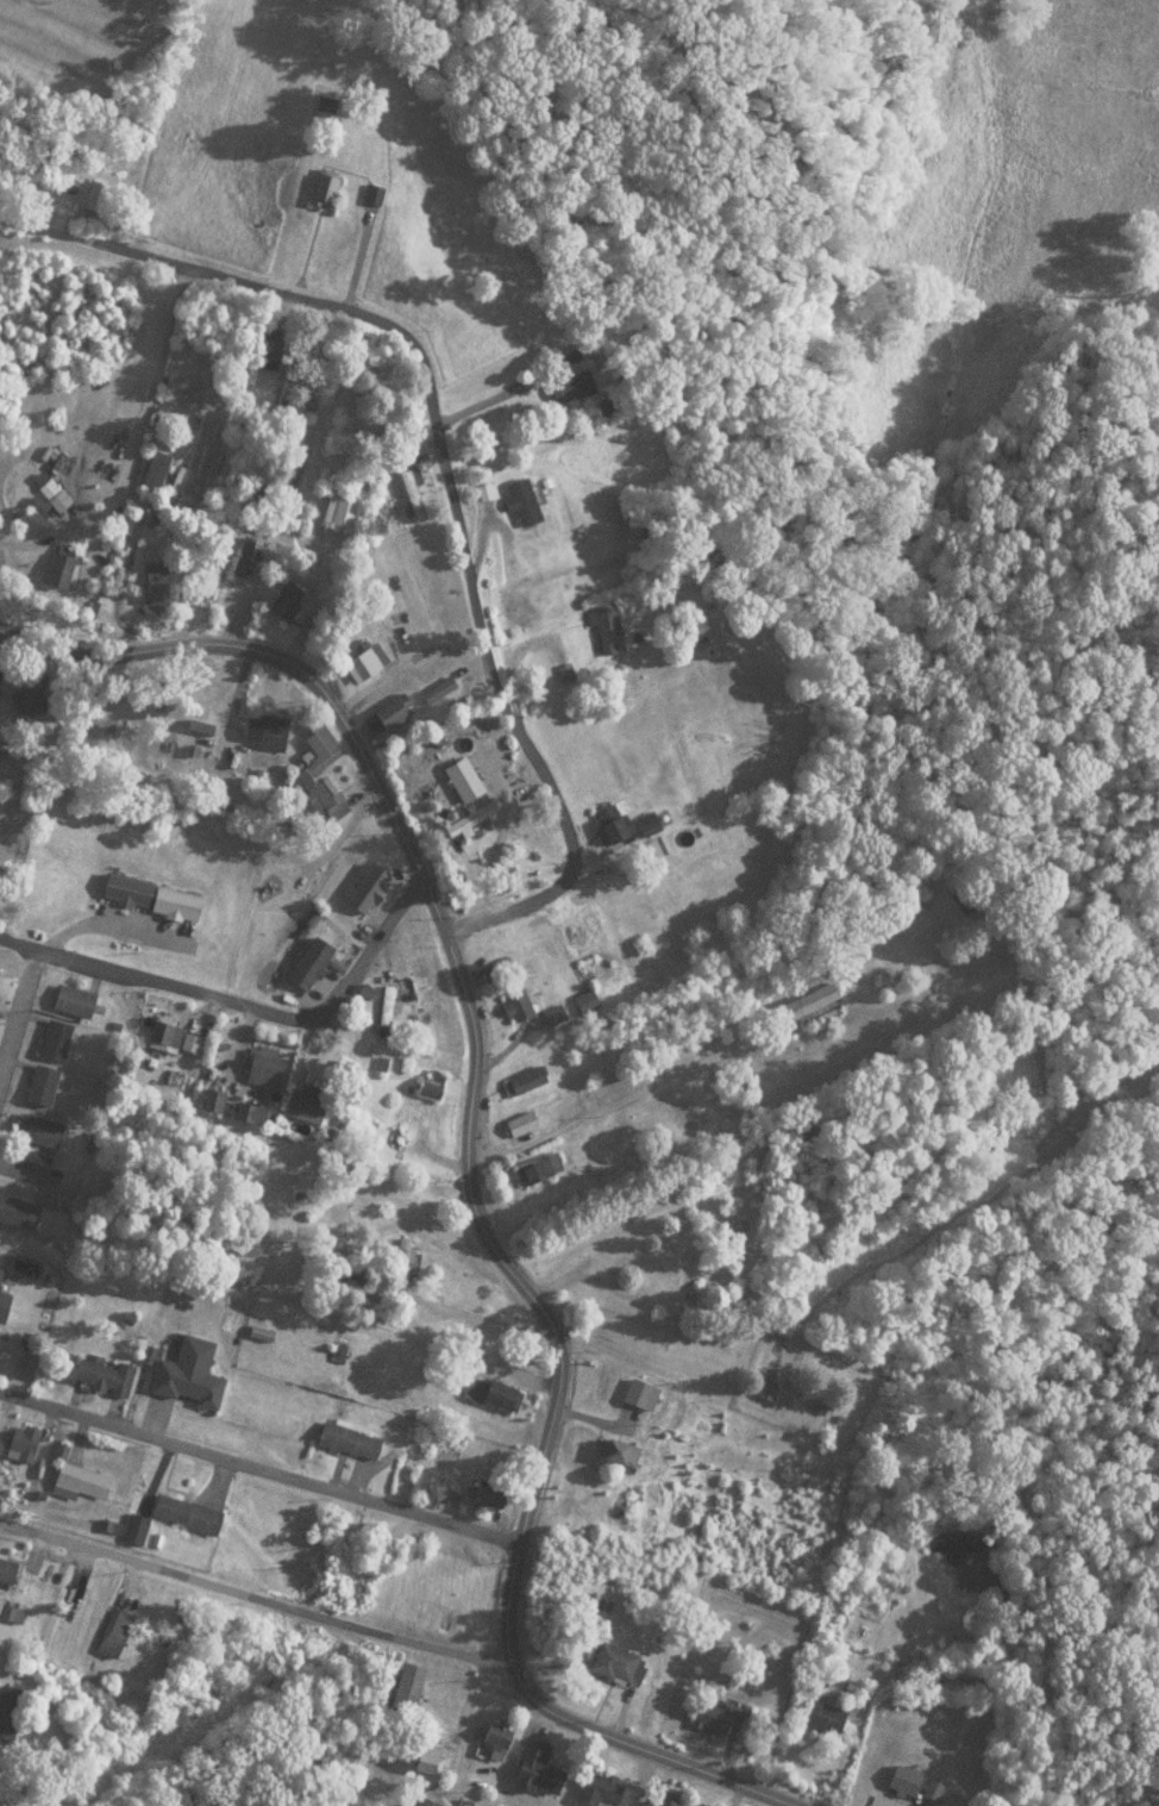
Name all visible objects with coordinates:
building: (327, 105)
building: (330, 186)
building: (378, 194)
building: (94, 199)
road: (94, 243)
building: (277, 360)
building: (564, 386)
road: (432, 418)
building: (156, 469)
building: (49, 490)
building: (414, 495)
building: (528, 502)
building: (340, 508)
building: (35, 525)
building: (64, 565)
building: (159, 586)
building: (287, 601)
building: (604, 627)
building: (368, 661)
building: (434, 688)
building: (30, 695)
building: (388, 707)
building: (271, 733)
building: (320, 773)
building: (457, 776)
building: (463, 817)
building: (643, 820)
building: (604, 821)
building: (367, 881)
building: (155, 898)
building: (305, 961)
building: (581, 999)
building: (77, 1001)
road: (242, 1002)
building: (513, 1002)
building: (808, 1002)
road: (17, 1008)
building: (383, 1010)
building: (549, 1012)
road: (482, 1014)
building: (168, 1036)
building: (58, 1041)
building: (259, 1064)
building: (521, 1077)
building: (424, 1081)
building: (44, 1086)
building: (299, 1104)
building: (244, 1111)
building: (516, 1121)
building: (43, 1131)
building: (535, 1166)
road: (599, 1201)
building: (15, 1211)
building: (399, 1261)
building: (1, 1274)
building: (656, 1281)
building: (5, 1306)
building: (193, 1373)
building: (105, 1375)
building: (764, 1389)
building: (497, 1392)
building: (635, 1393)
building: (344, 1438)
building: (30, 1443)
building: (613, 1450)
road: (269, 1466)
building: (88, 1482)
building: (193, 1513)
building: (139, 1527)
building: (8, 1571)
road: (269, 1614)
building: (117, 1632)
building: (613, 1663)
building: (402, 1686)
building: (10, 1713)
building: (819, 1713)
building: (709, 1716)
building: (491, 1732)
road: (472, 1741)
road: (662, 1755)
building: (422, 1760)
building: (531, 1767)
building: (900, 1779)
building: (595, 1787)
building: (931, 1788)
building: (659, 1798)

